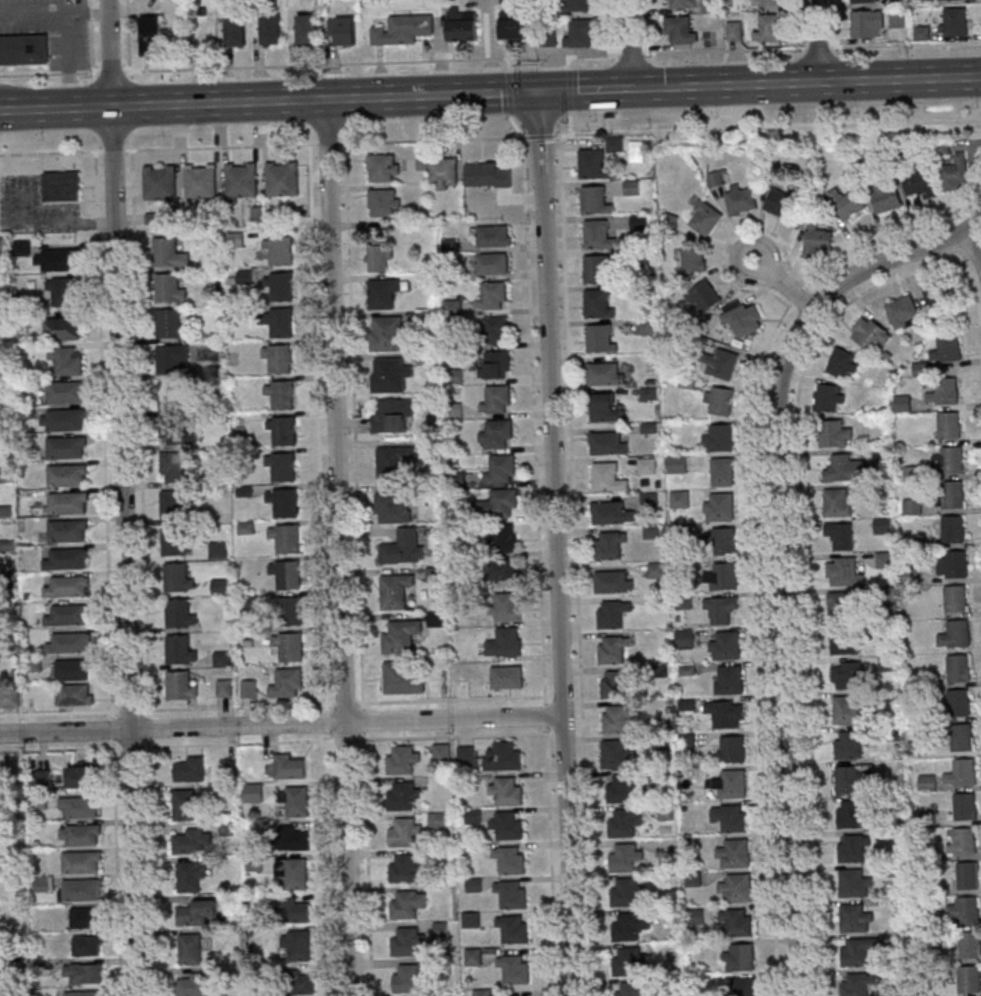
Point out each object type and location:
building: (945, 0)
building: (865, 1)
building: (898, 2)
building: (681, 3)
building: (769, 3)
building: (710, 5)
building: (576, 6)
road: (53, 12)
building: (901, 20)
building: (956, 21)
building: (516, 25)
building: (868, 25)
building: (462, 26)
building: (308, 28)
building: (403, 29)
building: (769, 29)
building: (272, 30)
building: (343, 30)
building: (678, 30)
building: (735, 31)
building: (236, 32)
building: (579, 34)
building: (151, 35)
road: (90, 36)
road: (126, 36)
road: (816, 40)
road: (631, 43)
building: (23, 49)
road: (490, 59)
road: (65, 60)
road: (899, 79)
road: (749, 84)
road: (656, 87)
road: (585, 89)
traffic signals: (538, 92)
road: (431, 95)
road: (217, 103)
road: (55, 109)
road: (767, 127)
road: (540, 135)
road: (507, 137)
road: (413, 140)
building: (615, 145)
road: (220, 147)
road: (113, 151)
road: (51, 152)
building: (592, 166)
building: (383, 169)
building: (444, 173)
building: (489, 174)
building: (956, 175)
building: (282, 180)
building: (241, 181)
building: (200, 182)
building: (159, 183)
building: (62, 185)
building: (918, 185)
building: (631, 188)
building: (887, 197)
building: (741, 199)
building: (594, 201)
building: (385, 202)
building: (780, 202)
building: (848, 204)
building: (706, 219)
building: (639, 222)
road: (46, 223)
building: (492, 235)
building: (597, 235)
building: (818, 240)
road: (760, 241)
building: (2, 245)
road: (973, 245)
building: (23, 248)
building: (278, 250)
building: (380, 253)
building: (168, 255)
building: (638, 257)
building: (60, 260)
building: (694, 260)
building: (492, 264)
building: (597, 270)
building: (280, 287)
building: (168, 289)
building: (64, 291)
building: (935, 293)
building: (383, 294)
building: (491, 296)
building: (704, 298)
building: (597, 305)
building: (903, 310)
building: (744, 321)
road: (978, 321)
building: (279, 322)
building: (169, 324)
building: (645, 326)
building: (63, 329)
building: (493, 331)
building: (387, 334)
building: (870, 334)
building: (599, 340)
building: (947, 349)
building: (277, 359)
building: (68, 360)
building: (173, 361)
building: (843, 363)
building: (720, 364)
building: (494, 366)
building: (919, 369)
building: (391, 375)
building: (604, 375)
building: (65, 392)
building: (944, 392)
building: (648, 394)
building: (281, 395)
building: (172, 397)
building: (829, 397)
building: (720, 399)
building: (495, 400)
building: (903, 404)
building: (604, 409)
building: (455, 410)
building: (394, 415)
building: (65, 420)
road: (534, 420)
road: (354, 425)
building: (948, 427)
building: (648, 429)
building: (175, 430)
building: (282, 431)
road: (104, 434)
building: (495, 434)
building: (833, 435)
building: (718, 437)
road: (317, 439)
building: (607, 444)
building: (65, 448)
building: (950, 461)
building: (395, 464)
building: (677, 464)
building: (646, 465)
building: (177, 467)
building: (281, 467)
building: (500, 469)
building: (844, 469)
building: (721, 473)
building: (65, 476)
building: (608, 478)
building: (952, 496)
road: (124, 497)
building: (679, 500)
building: (648, 501)
building: (839, 502)
building: (66, 503)
building: (283, 503)
building: (501, 503)
building: (173, 507)
building: (722, 507)
building: (393, 508)
building: (609, 514)
building: (883, 526)
road: (757, 529)
building: (66, 531)
building: (952, 531)
building: (652, 532)
building: (841, 535)
building: (504, 536)
building: (285, 539)
building: (724, 542)
building: (174, 543)
road: (554, 544)
building: (609, 546)
road: (338, 547)
building: (404, 548)
road: (781, 550)
building: (67, 559)
building: (885, 561)
road: (576, 565)
building: (956, 566)
road: (801, 568)
building: (506, 570)
building: (655, 570)
road: (145, 573)
building: (843, 573)
building: (286, 575)
building: (177, 578)
building: (725, 578)
building: (613, 582)
building: (68, 586)
building: (395, 590)
building: (954, 600)
building: (682, 602)
building: (506, 606)
building: (840, 607)
building: (721, 609)
building: (288, 611)
building: (68, 615)
building: (179, 615)
building: (611, 616)
building: (437, 619)
building: (956, 635)
building: (401, 636)
building: (682, 637)
building: (727, 642)
building: (845, 642)
building: (505, 643)
building: (68, 644)
building: (288, 647)
building: (179, 651)
building: (611, 651)
building: (223, 659)
building: (33, 664)
building: (956, 670)
building: (72, 671)
building: (510, 677)
building: (848, 677)
building: (403, 678)
building: (729, 679)
building: (287, 684)
building: (614, 684)
building: (181, 687)
building: (225, 688)
building: (250, 689)
building: (73, 696)
building: (9, 697)
road: (448, 700)
building: (958, 704)
road: (247, 707)
road: (131, 710)
building: (849, 711)
road: (60, 712)
building: (723, 712)
road: (544, 715)
building: (616, 718)
road: (280, 724)
road: (113, 728)
road: (449, 736)
building: (961, 739)
road: (237, 743)
building: (847, 746)
road: (60, 749)
building: (732, 749)
building: (439, 751)
building: (464, 753)
building: (615, 755)
building: (500, 756)
building: (399, 759)
building: (287, 765)
building: (191, 769)
building: (964, 773)
building: (81, 777)
building: (42, 779)
building: (851, 780)
building: (928, 782)
building: (731, 784)
building: (622, 789)
building: (506, 791)
building: (401, 796)
building: (297, 802)
building: (188, 805)
building: (80, 807)
building: (964, 808)
building: (472, 815)
building: (850, 815)
building: (729, 817)
building: (435, 820)
building: (622, 822)
building: (504, 825)
building: (402, 831)
building: (80, 834)
building: (291, 837)
building: (193, 843)
building: (963, 843)
building: (853, 849)
building: (732, 851)
road: (367, 852)
building: (623, 857)
building: (509, 859)
building: (79, 860)
road: (551, 861)
road: (330, 865)
road: (118, 867)
building: (403, 868)
building: (294, 873)
building: (191, 877)
building: (967, 877)
building: (42, 884)
building: (852, 884)
building: (734, 886)
building: (79, 888)
building: (625, 891)
building: (511, 893)
building: (404, 904)
building: (297, 911)
building: (966, 911)
building: (196, 914)
building: (86, 918)
building: (853, 918)
building: (469, 919)
building: (737, 922)
building: (626, 926)
building: (513, 928)
building: (441, 930)
building: (405, 941)
building: (297, 945)
building: (88, 946)
building: (969, 946)
building: (190, 950)
building: (857, 952)
building: (471, 956)
building: (738, 956)
building: (627, 961)
building: (439, 966)
building: (513, 969)
building: (83, 974)
building: (406, 978)
building: (291, 980)
building: (968, 980)
building: (192, 986)
building: (744, 986)
building: (854, 986)
building: (630, 989)
building: (480, 991)
building: (84, 994)

